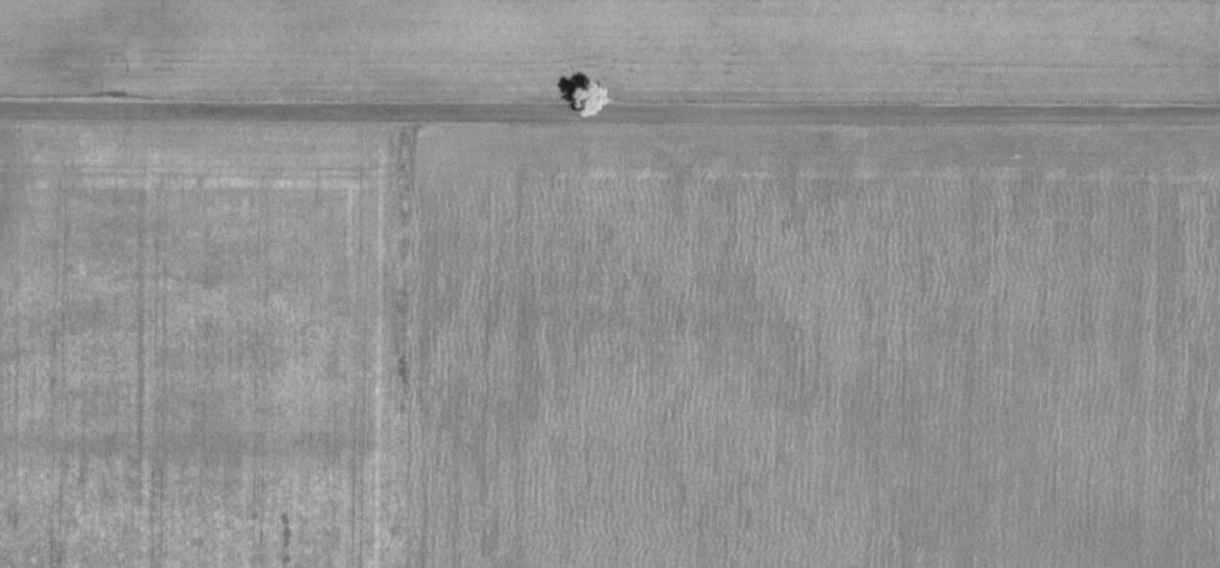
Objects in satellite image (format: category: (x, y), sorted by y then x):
road: (609, 111)

